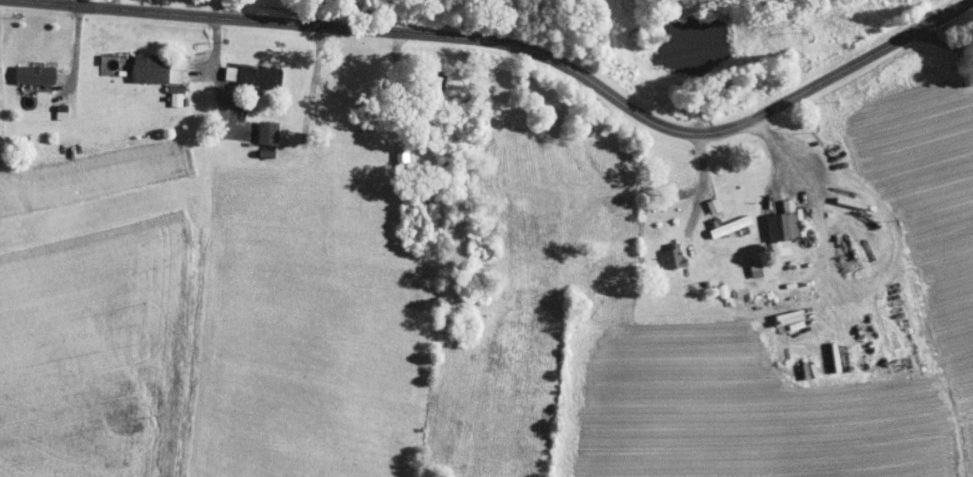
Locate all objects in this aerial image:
road: (945, 44)
road: (524, 47)
building: (135, 62)
building: (20, 68)
building: (238, 69)
road: (220, 82)
building: (162, 93)
building: (253, 127)
building: (388, 146)
road: (780, 151)
road: (702, 183)
building: (700, 199)
building: (771, 220)
building: (659, 250)
building: (741, 262)

